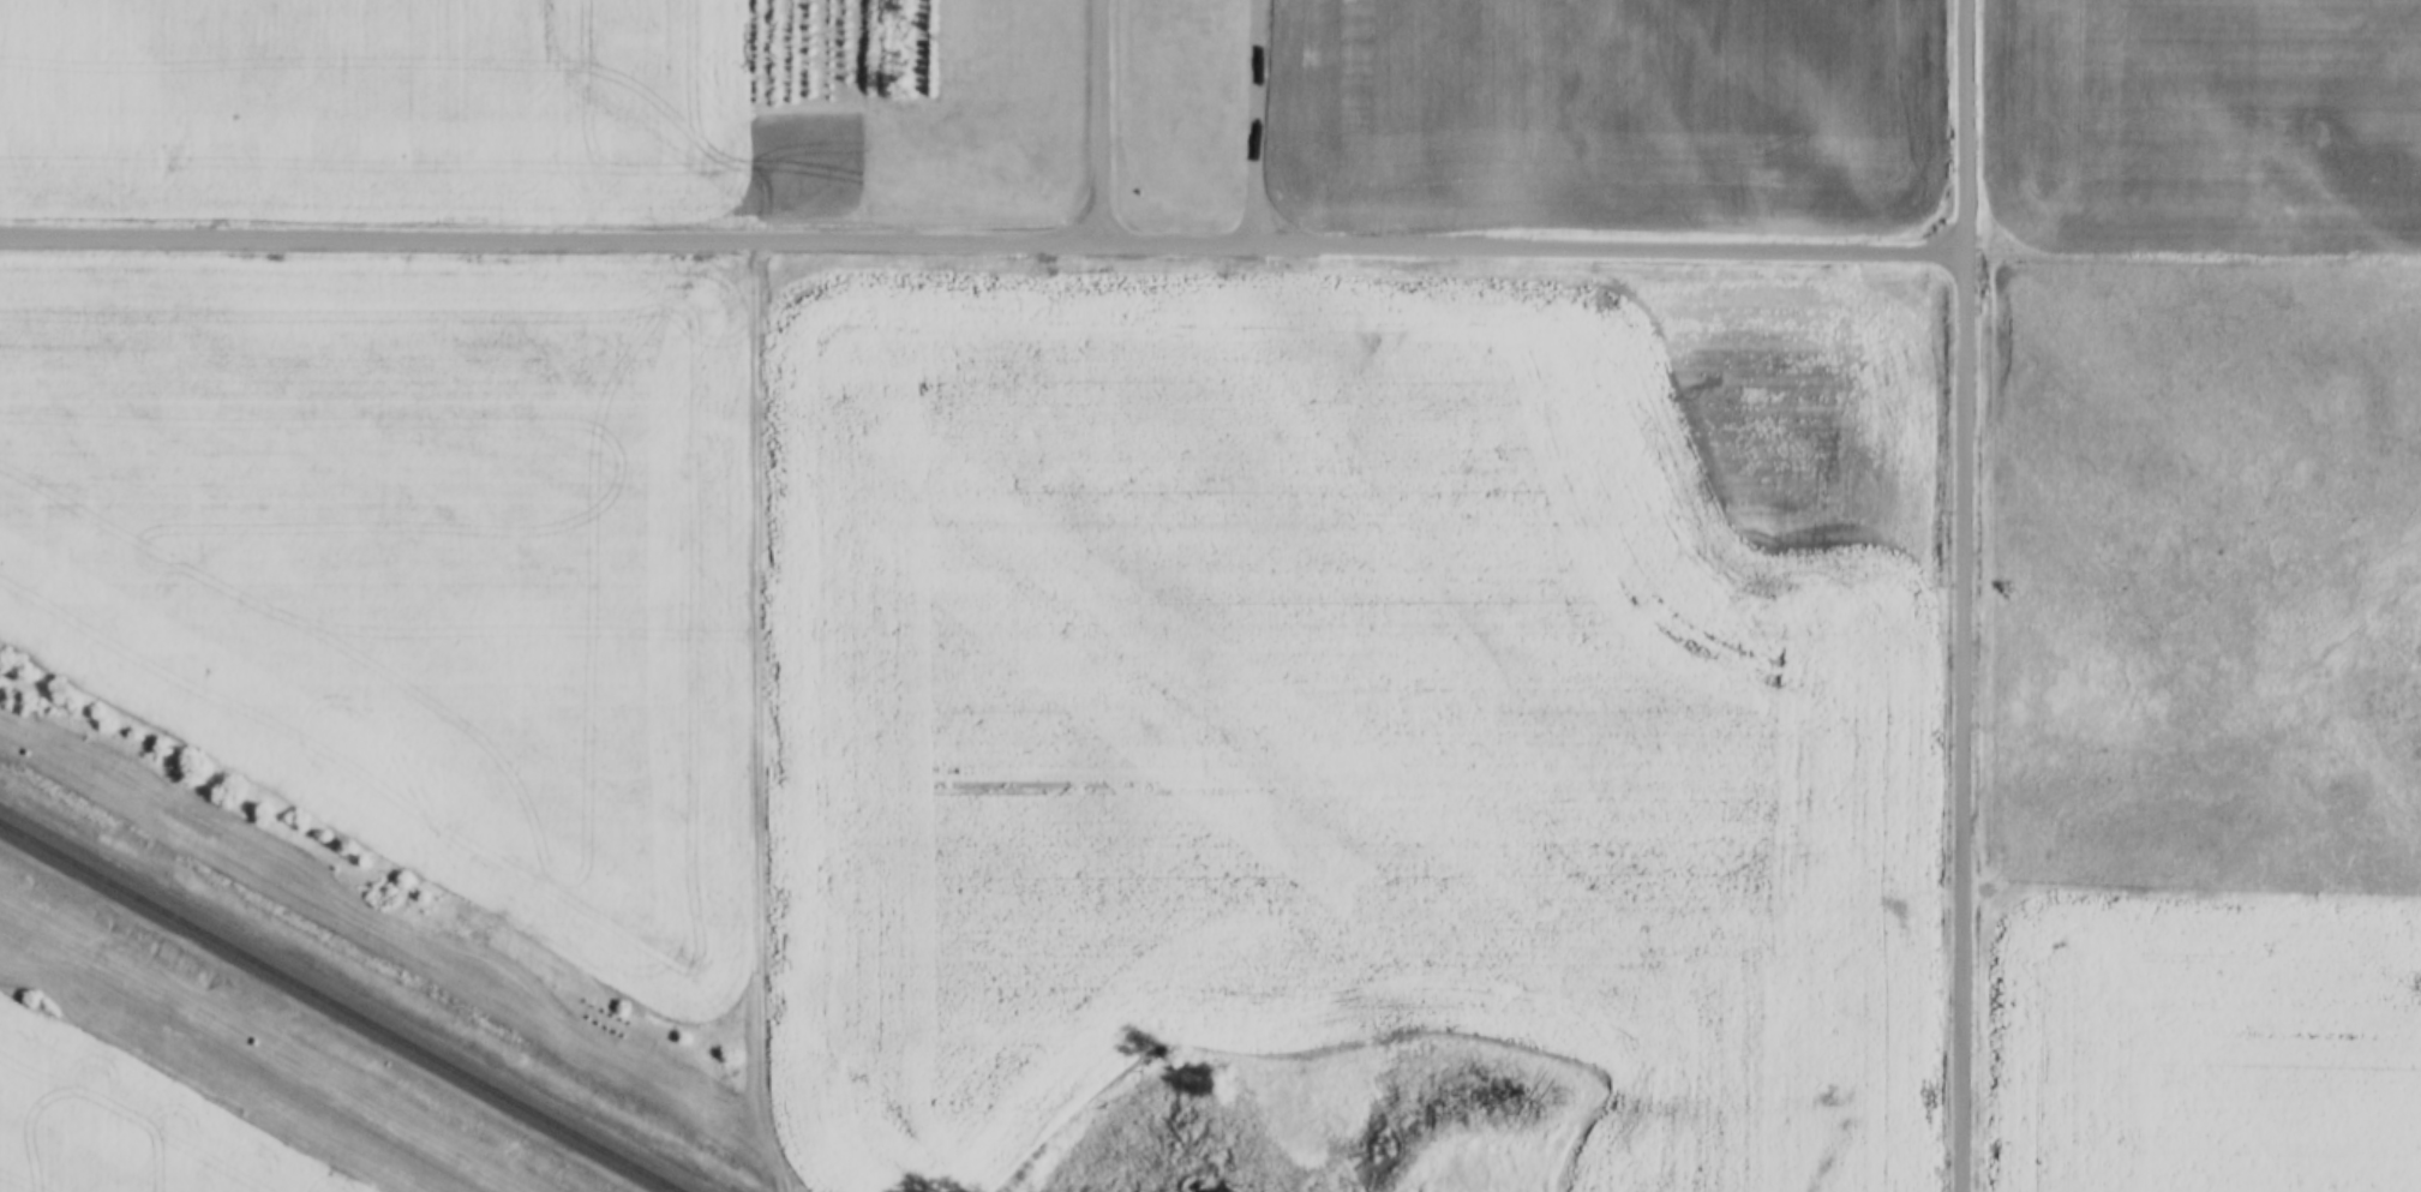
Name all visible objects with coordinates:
road: (1103, 120)
road: (983, 239)
road: (1965, 595)
road: (754, 717)
railway: (341, 1006)

